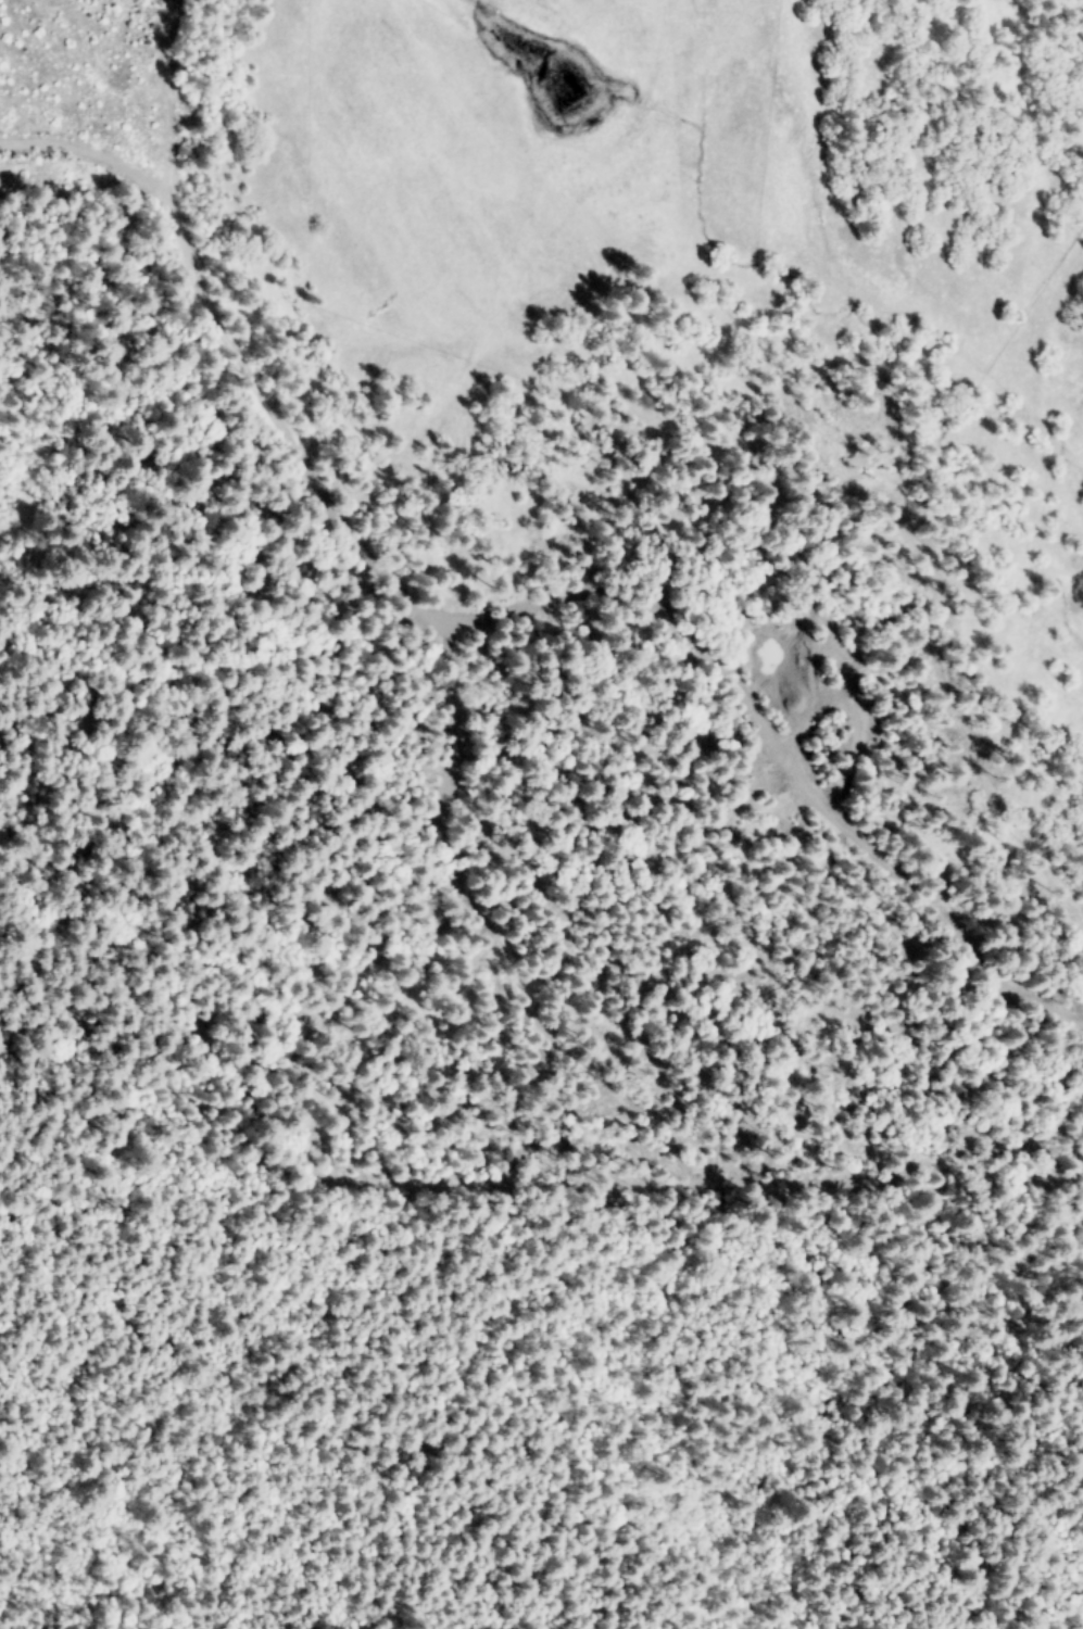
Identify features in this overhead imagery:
road: (373, 478)
road: (933, 915)

